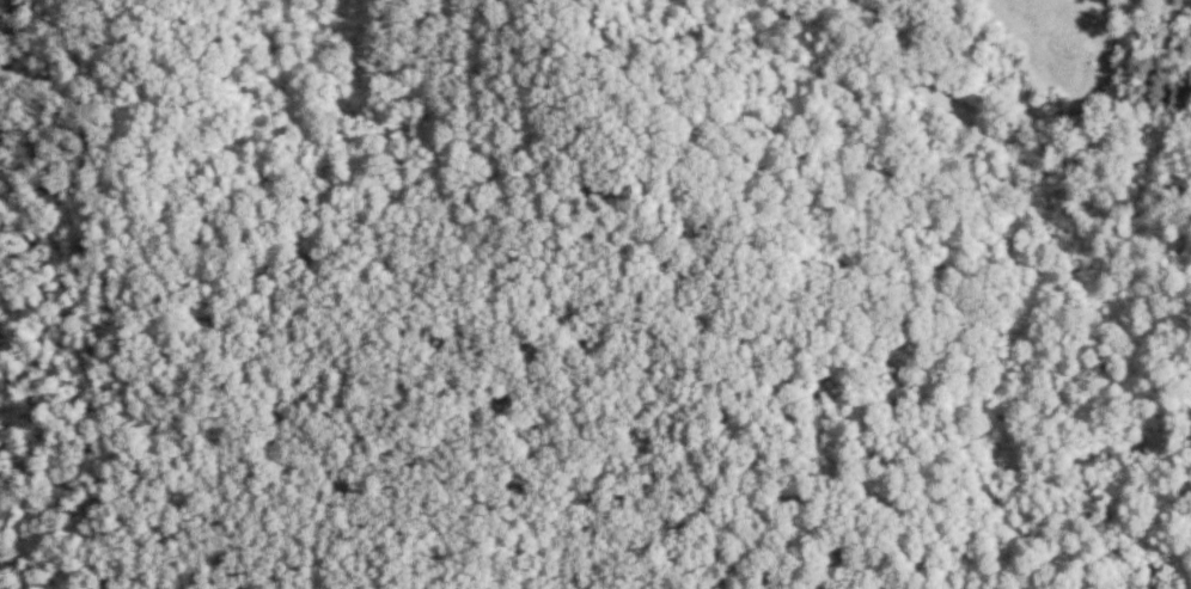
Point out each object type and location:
road: (1016, 82)

